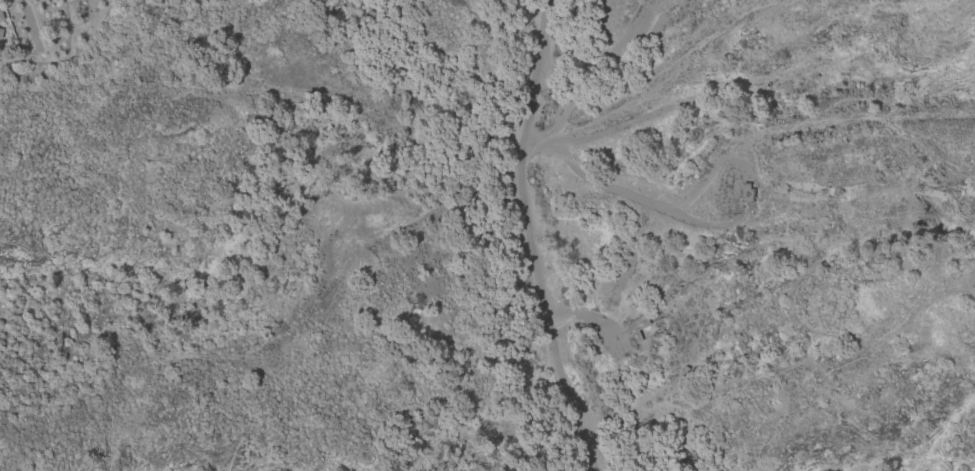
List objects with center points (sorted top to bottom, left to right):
building: (1, 15)
building: (1, 33)
road: (530, 238)

